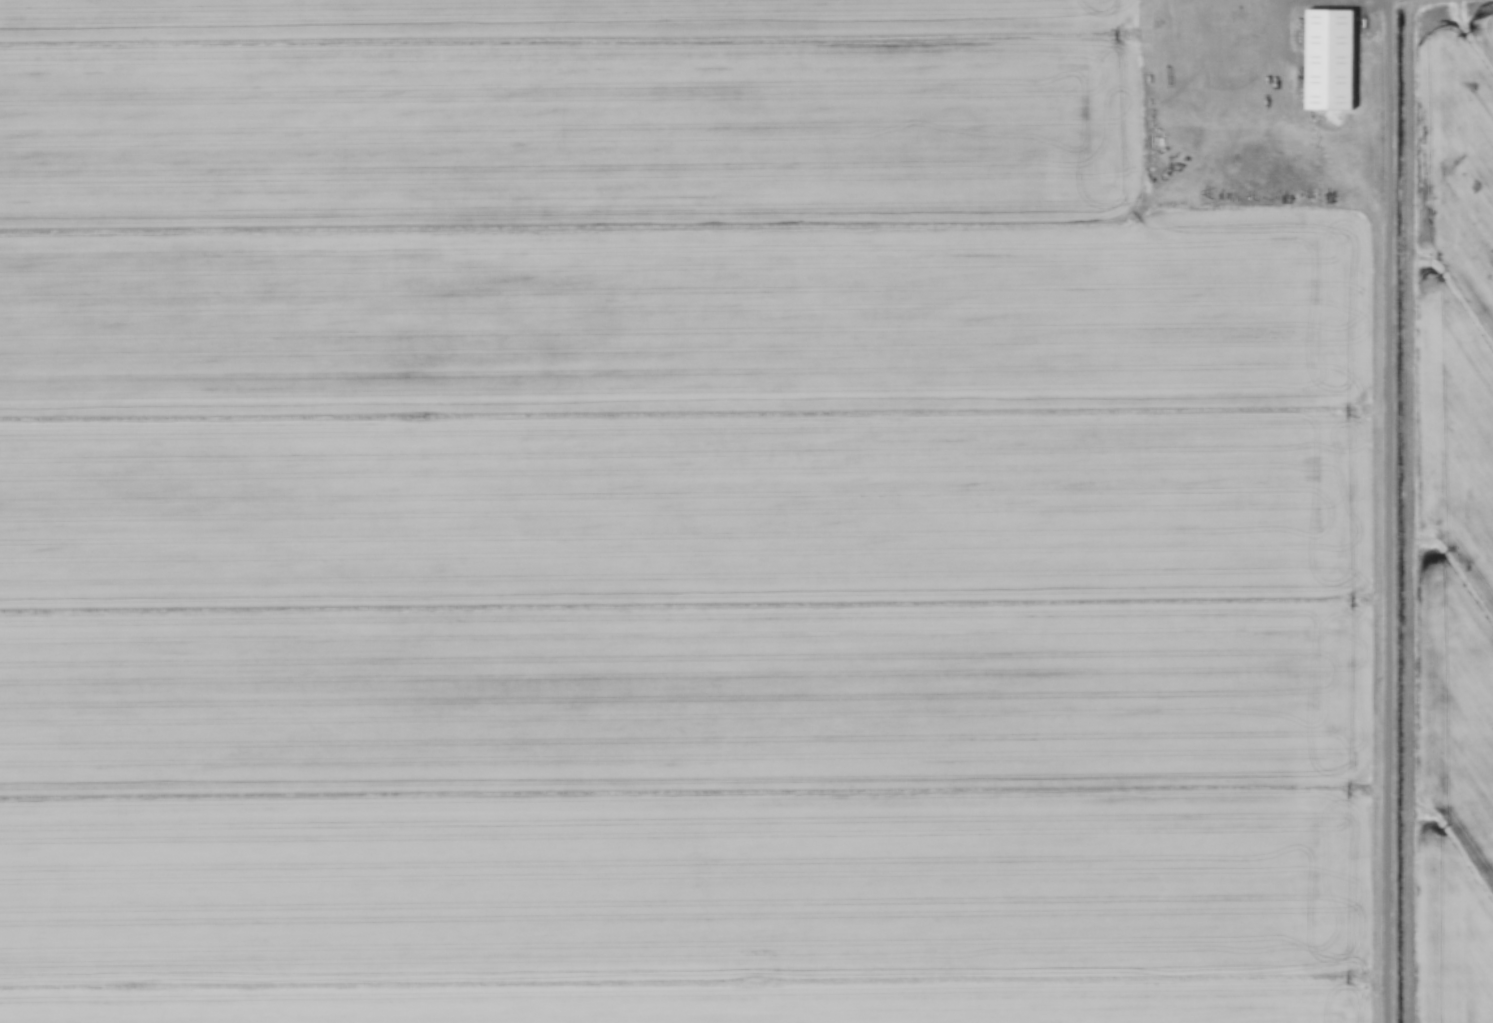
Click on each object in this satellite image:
building: (1330, 60)

